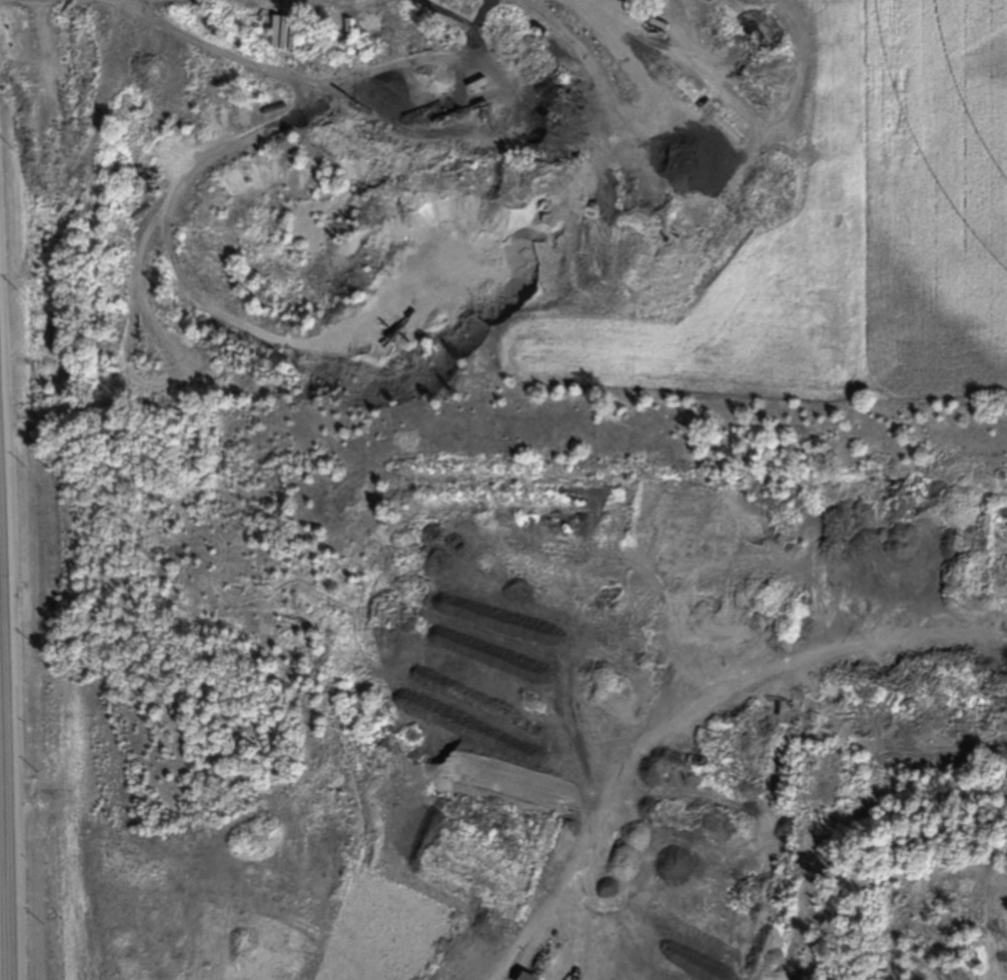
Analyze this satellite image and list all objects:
quarry: (466, 500)
building: (526, 977)

